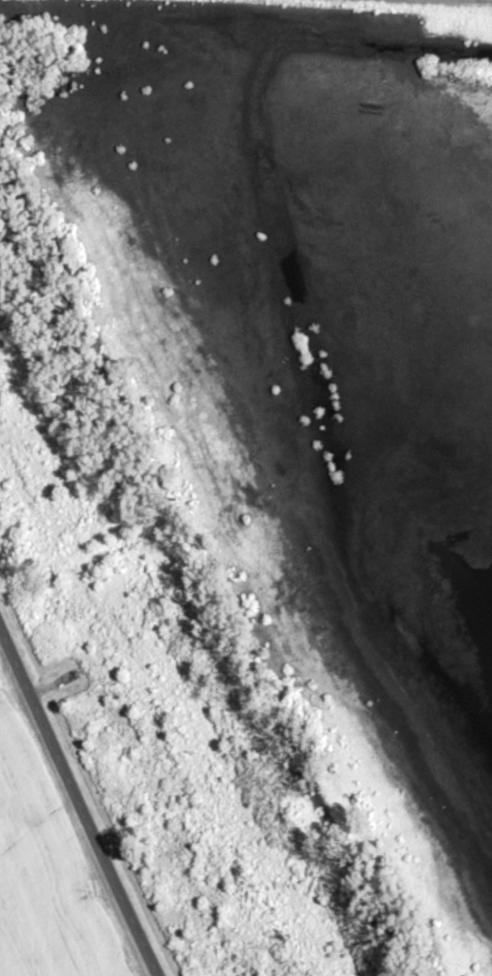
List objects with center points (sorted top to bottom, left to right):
road: (79, 798)

